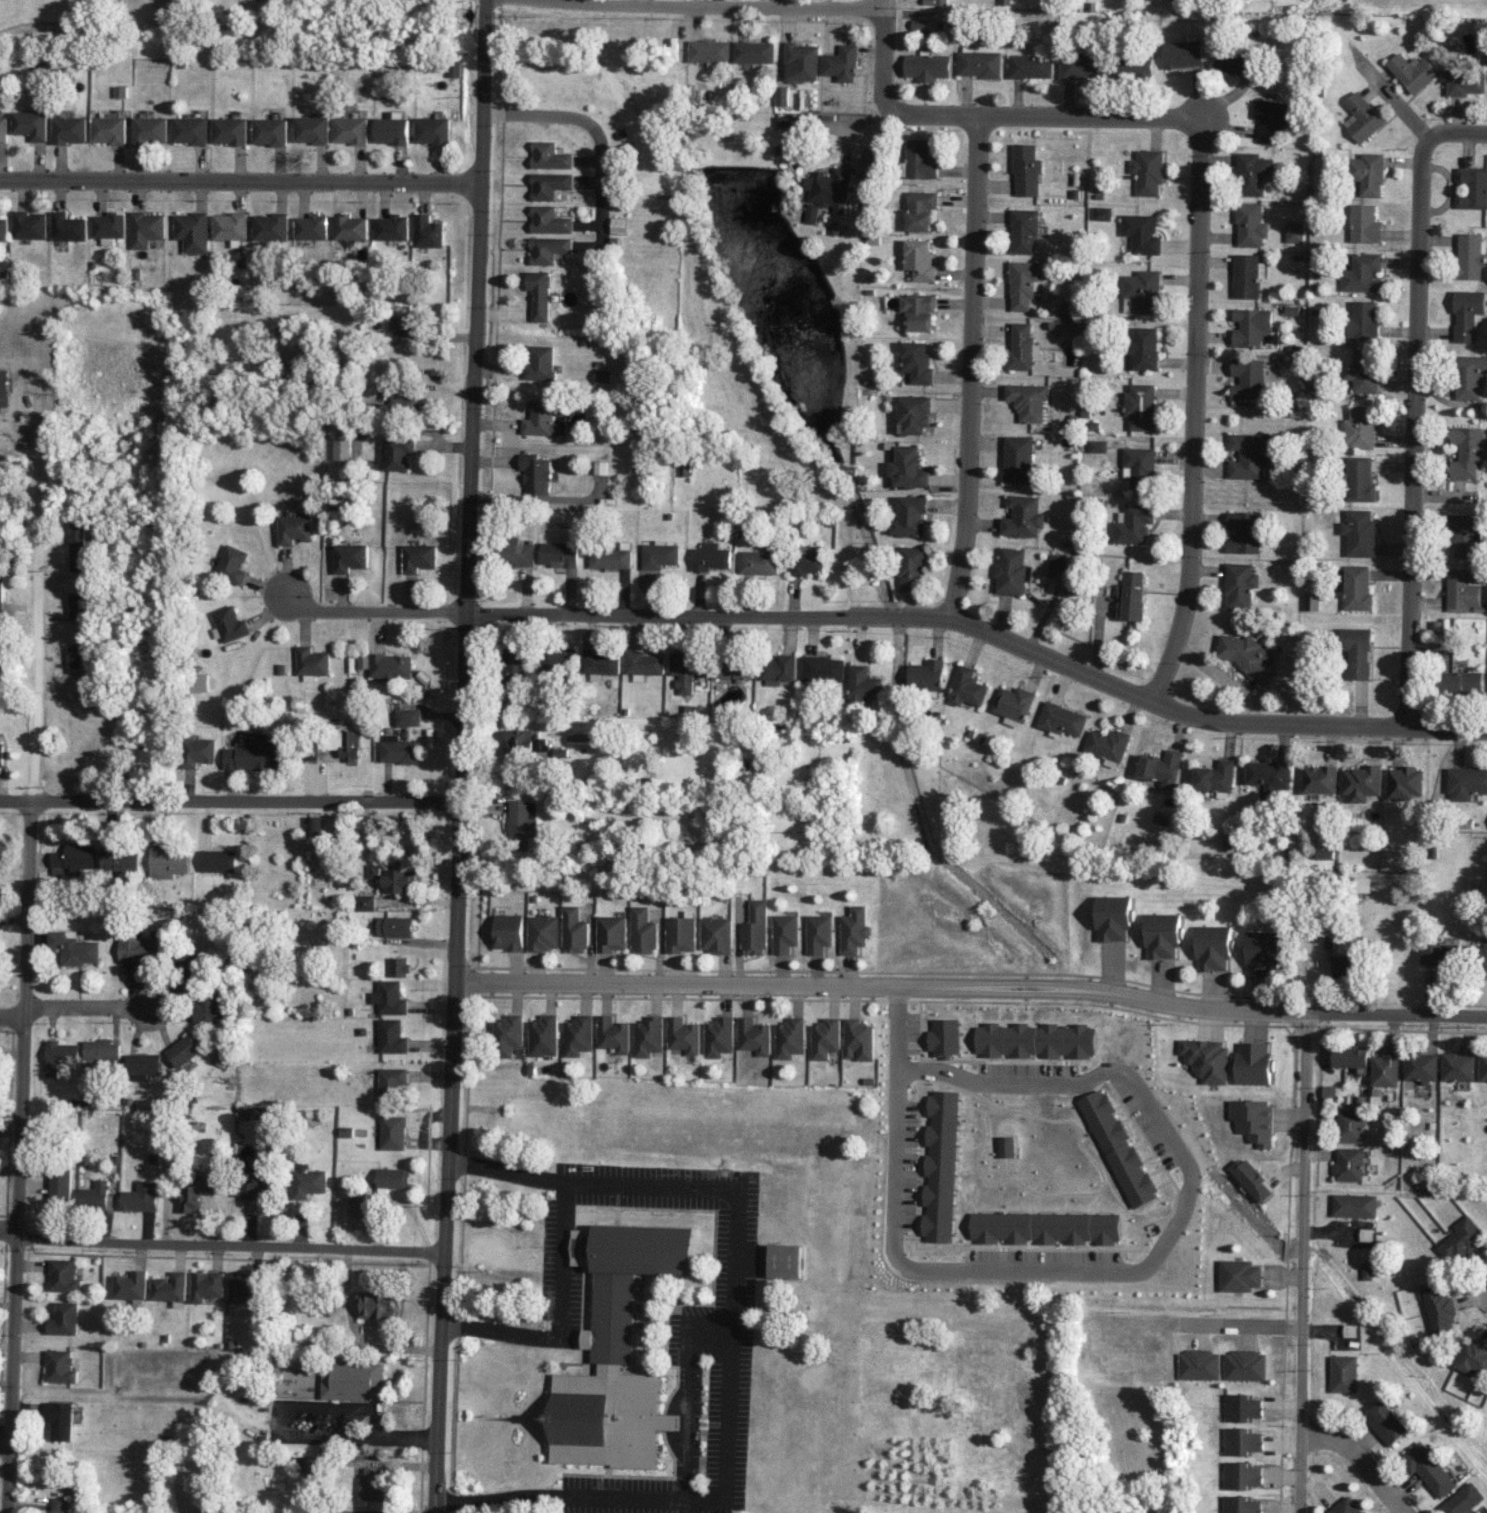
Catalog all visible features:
building: (935, 2)
road: (716, 7)
building: (920, 24)
building: (709, 50)
building: (754, 51)
building: (1182, 54)
road: (882, 55)
building: (1239, 60)
building: (801, 61)
building: (841, 63)
building: (979, 63)
building: (1030, 66)
building: (1081, 66)
building: (927, 67)
building: (1133, 67)
building: (1413, 71)
building: (1464, 81)
building: (782, 96)
road: (1042, 115)
building: (1363, 117)
building: (1272, 119)
building: (788, 122)
building: (32, 124)
building: (4, 129)
building: (71, 129)
building: (110, 129)
building: (152, 129)
building: (313, 129)
building: (192, 130)
building: (351, 130)
building: (392, 130)
building: (433, 130)
building: (231, 131)
building: (271, 131)
road: (597, 131)
road: (1455, 131)
building: (549, 156)
building: (920, 160)
building: (872, 164)
building: (1026, 170)
building: (1148, 171)
building: (1253, 173)
building: (1369, 173)
road: (241, 180)
building: (549, 184)
building: (1472, 187)
building: (830, 188)
building: (920, 209)
building: (812, 212)
building: (1102, 213)
building: (549, 220)
building: (1250, 224)
building: (1365, 224)
building: (30, 225)
building: (618, 225)
building: (230, 226)
building: (271, 226)
building: (313, 226)
building: (68, 227)
building: (110, 227)
building: (351, 227)
building: (393, 227)
building: (147, 228)
building: (4, 229)
building: (1024, 230)
building: (193, 231)
building: (428, 231)
building: (1294, 231)
building: (1141, 233)
building: (548, 249)
building: (1471, 255)
building: (919, 259)
building: (1362, 273)
building: (1247, 275)
building: (1022, 283)
building: (1141, 292)
building: (539, 294)
building: (918, 311)
building: (1468, 313)
building: (1363, 320)
building: (1251, 326)
building: (408, 329)
building: (1021, 346)
building: (1142, 348)
building: (916, 362)
building: (541, 363)
road: (969, 367)
building: (1364, 372)
building: (603, 375)
building: (1469, 376)
building: (1248, 378)
building: (3, 388)
building: (1028, 400)
building: (406, 403)
building: (1140, 406)
building: (913, 413)
road: (1193, 413)
building: (540, 418)
building: (1360, 428)
road: (1414, 433)
building: (1097, 445)
building: (342, 451)
building: (1467, 451)
building: (400, 452)
building: (1251, 454)
building: (1018, 459)
building: (908, 467)
building: (1139, 467)
building: (535, 472)
building: (1360, 478)
building: (909, 516)
building: (1022, 516)
building: (1133, 523)
building: (295, 528)
building: (1243, 532)
building: (1359, 532)
building: (1465, 534)
building: (2, 538)
building: (518, 552)
building: (559, 554)
building: (659, 554)
building: (351, 557)
building: (418, 557)
building: (710, 557)
building: (610, 558)
building: (807, 561)
building: (78, 562)
building: (758, 562)
building: (1056, 563)
building: (232, 564)
building: (911, 566)
building: (1011, 571)
building: (1239, 585)
building: (1357, 587)
building: (1463, 591)
building: (1, 594)
building: (1132, 595)
building: (1312, 601)
building: (76, 605)
road: (361, 610)
road: (983, 630)
building: (1357, 651)
building: (75, 655)
building: (1246, 655)
building: (515, 658)
building: (557, 659)
building: (312, 661)
building: (362, 661)
building: (600, 663)
building: (643, 664)
building: (3, 665)
building: (390, 665)
building: (733, 667)
building: (823, 668)
building: (684, 669)
building: (779, 669)
building: (926, 674)
building: (1459, 682)
building: (199, 683)
building: (862, 684)
building: (966, 687)
building: (1012, 705)
building: (405, 717)
building: (1061, 719)
building: (525, 740)
building: (1106, 744)
building: (400, 751)
building: (198, 752)
building: (1, 754)
road: (461, 756)
building: (253, 757)
building: (1160, 768)
building: (1268, 775)
building: (1214, 776)
building: (1319, 779)
building: (1361, 782)
building: (1404, 782)
building: (1466, 782)
road: (229, 800)
building: (522, 820)
building: (315, 826)
building: (1324, 853)
building: (73, 859)
building: (120, 860)
building: (219, 860)
building: (169, 862)
building: (393, 879)
building: (1361, 884)
building: (366, 902)
building: (1113, 918)
building: (395, 926)
building: (755, 929)
building: (574, 930)
building: (854, 930)
building: (643, 931)
building: (509, 932)
building: (543, 932)
building: (612, 933)
building: (785, 933)
building: (819, 933)
building: (681, 934)
building: (717, 934)
building: (1161, 935)
building: (75, 948)
building: (1213, 948)
building: (140, 949)
building: (1485, 952)
building: (1261, 953)
building: (1441, 953)
building: (185, 961)
building: (1343, 965)
building: (398, 966)
road: (23, 970)
road: (970, 988)
building: (389, 997)
road: (95, 1006)
building: (206, 1008)
road: (11, 1015)
building: (508, 1033)
building: (613, 1034)
building: (543, 1035)
building: (578, 1035)
building: (683, 1035)
building: (754, 1035)
building: (391, 1036)
building: (648, 1036)
building: (719, 1036)
building: (790, 1037)
building: (825, 1038)
building: (944, 1038)
building: (859, 1039)
building: (1037, 1040)
building: (102, 1050)
building: (184, 1050)
building: (221, 1055)
building: (60, 1056)
building: (1351, 1058)
building: (1207, 1059)
building: (1253, 1062)
building: (142, 1065)
building: (1458, 1066)
building: (1422, 1067)
building: (1483, 1067)
building: (1386, 1068)
building: (391, 1082)
building: (1253, 1120)
building: (1350, 1125)
building: (392, 1132)
building: (1005, 1146)
building: (1120, 1150)
building: (1348, 1163)
building: (939, 1166)
building: (1250, 1178)
building: (392, 1179)
building: (308, 1182)
building: (249, 1186)
building: (59, 1189)
building: (196, 1190)
building: (94, 1196)
building: (140, 1197)
building: (357, 1199)
building: (1354, 1205)
building: (356, 1210)
building: (1044, 1227)
road: (8, 1231)
building: (1463, 1240)
road: (229, 1245)
road: (566, 1258)
building: (786, 1260)
road: (1302, 1262)
road: (1114, 1272)
building: (64, 1275)
building: (1239, 1275)
road: (732, 1281)
building: (131, 1285)
building: (207, 1285)
building: (170, 1287)
building: (247, 1288)
road: (1482, 1291)
building: (376, 1304)
building: (1439, 1308)
building: (64, 1318)
building: (619, 1348)
building: (1473, 1357)
building: (1199, 1364)
building: (1245, 1365)
building: (61, 1366)
building: (1344, 1373)
building: (353, 1380)
building: (1242, 1407)
building: (60, 1420)
building: (1386, 1422)
building: (1242, 1441)
road: (5, 1442)
road: (1359, 1459)
building: (1428, 1468)
building: (1241, 1474)
building: (372, 1483)
road: (569, 1495)
building: (1463, 1499)
building: (58, 1504)
building: (1240, 1504)
building: (1346, 1506)

